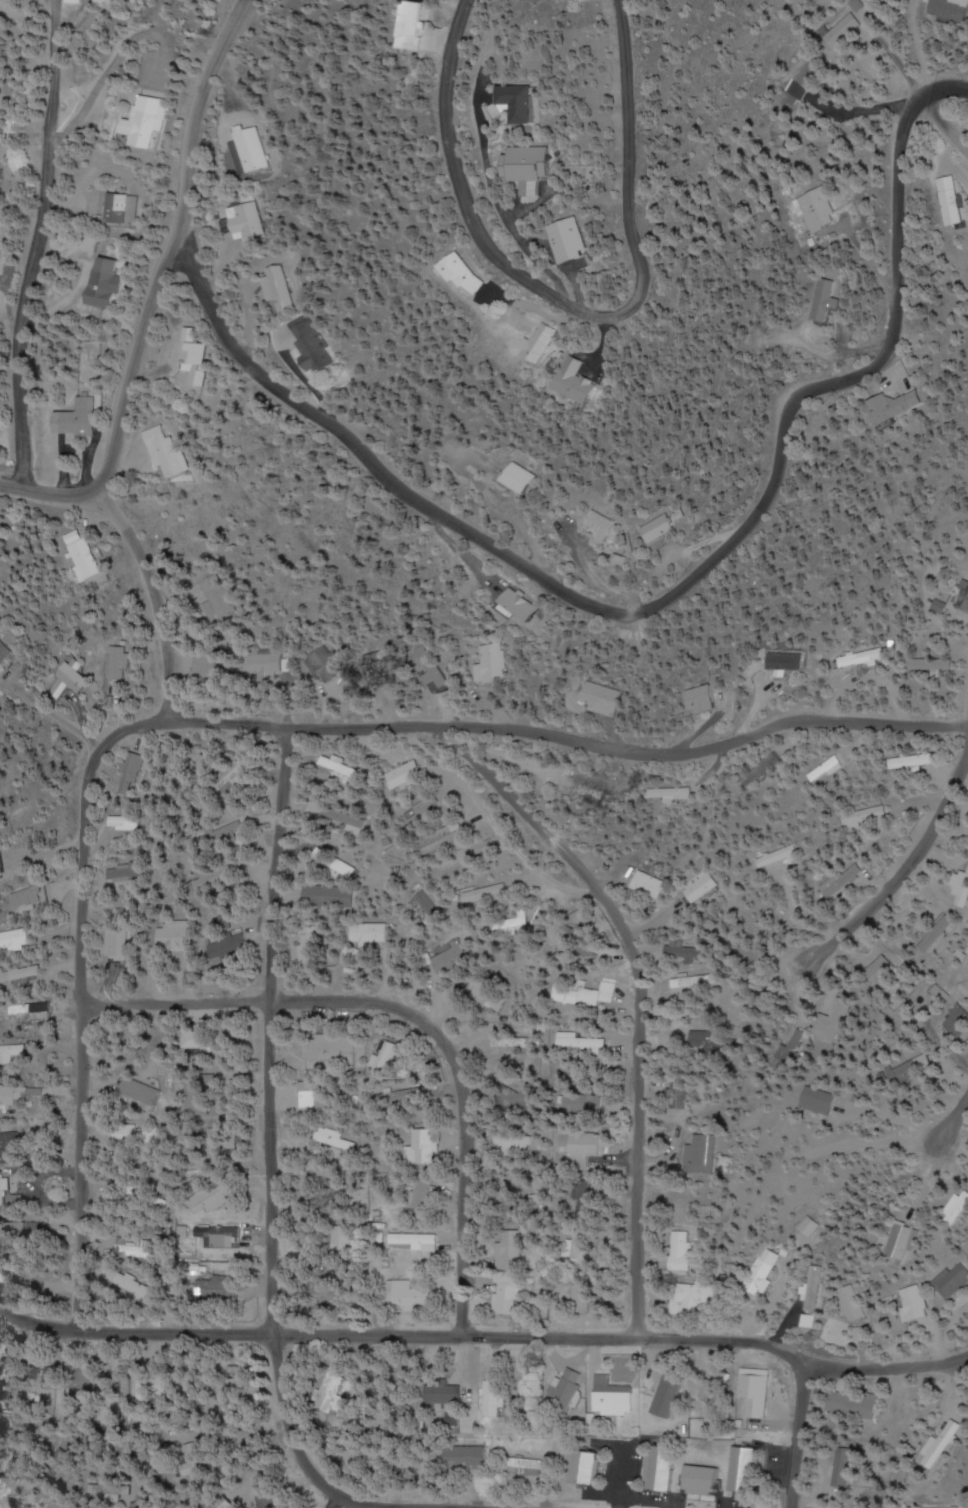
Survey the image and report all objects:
building: (952, 10)
building: (851, 27)
building: (428, 30)
road: (945, 87)
building: (533, 103)
building: (142, 123)
road: (946, 123)
building: (247, 149)
building: (536, 167)
building: (950, 202)
building: (117, 207)
building: (814, 210)
building: (244, 221)
building: (579, 240)
road: (171, 247)
road: (36, 251)
building: (468, 274)
road: (190, 277)
building: (105, 283)
building: (279, 291)
building: (827, 300)
road: (583, 313)
building: (544, 341)
building: (312, 344)
building: (191, 356)
building: (585, 380)
building: (909, 404)
building: (78, 418)
building: (165, 453)
building: (525, 478)
building: (609, 525)
building: (666, 527)
building: (85, 556)
road: (137, 556)
road: (688, 582)
building: (964, 597)
building: (521, 606)
building: (9, 654)
building: (865, 659)
building: (787, 661)
building: (118, 663)
building: (267, 663)
building: (211, 664)
building: (494, 664)
building: (323, 666)
building: (433, 666)
building: (377, 669)
building: (79, 677)
building: (605, 698)
building: (709, 700)
road: (571, 735)
building: (829, 767)
building: (342, 770)
building: (131, 773)
building: (408, 774)
building: (588, 783)
building: (677, 793)
building: (866, 818)
building: (129, 822)
building: (783, 858)
building: (5, 863)
building: (127, 872)
road: (898, 875)
building: (222, 879)
building: (652, 886)
building: (705, 886)
building: (834, 886)
building: (486, 894)
building: (330, 897)
building: (31, 898)
building: (370, 934)
building: (573, 934)
building: (176, 936)
building: (18, 940)
building: (119, 944)
building: (231, 945)
building: (689, 953)
building: (456, 958)
building: (23, 975)
building: (695, 985)
building: (590, 994)
road: (640, 997)
road: (83, 1000)
building: (39, 1009)
road: (414, 1020)
building: (959, 1022)
building: (201, 1041)
building: (516, 1043)
building: (709, 1043)
building: (581, 1046)
building: (333, 1048)
building: (13, 1054)
building: (786, 1056)
building: (388, 1061)
building: (912, 1071)
building: (677, 1093)
building: (21, 1095)
building: (519, 1099)
building: (823, 1100)
building: (584, 1104)
road: (951, 1117)
building: (134, 1135)
building: (332, 1140)
building: (219, 1142)
building: (582, 1145)
building: (425, 1146)
building: (12, 1149)
building: (698, 1154)
road: (266, 1166)
building: (3, 1184)
building: (329, 1194)
building: (591, 1198)
building: (8, 1228)
building: (229, 1235)
building: (415, 1241)
building: (905, 1242)
building: (342, 1243)
building: (582, 1249)
building: (137, 1251)
building: (683, 1251)
building: (759, 1273)
building: (8, 1276)
building: (956, 1282)
building: (813, 1288)
building: (229, 1290)
building: (506, 1295)
building: (578, 1296)
building: (694, 1296)
building: (331, 1297)
building: (408, 1297)
building: (856, 1304)
building: (916, 1304)
building: (864, 1334)
road: (486, 1336)
building: (17, 1372)
building: (151, 1383)
building: (712, 1387)
building: (568, 1388)
building: (445, 1394)
building: (753, 1395)
building: (333, 1397)
building: (611, 1398)
building: (494, 1399)
building: (855, 1406)
building: (514, 1416)
road: (796, 1437)
building: (944, 1443)
building: (471, 1458)
building: (534, 1466)
building: (840, 1467)
building: (588, 1468)
building: (662, 1469)
building: (744, 1470)
building: (702, 1481)
building: (266, 1495)
building: (157, 1506)

